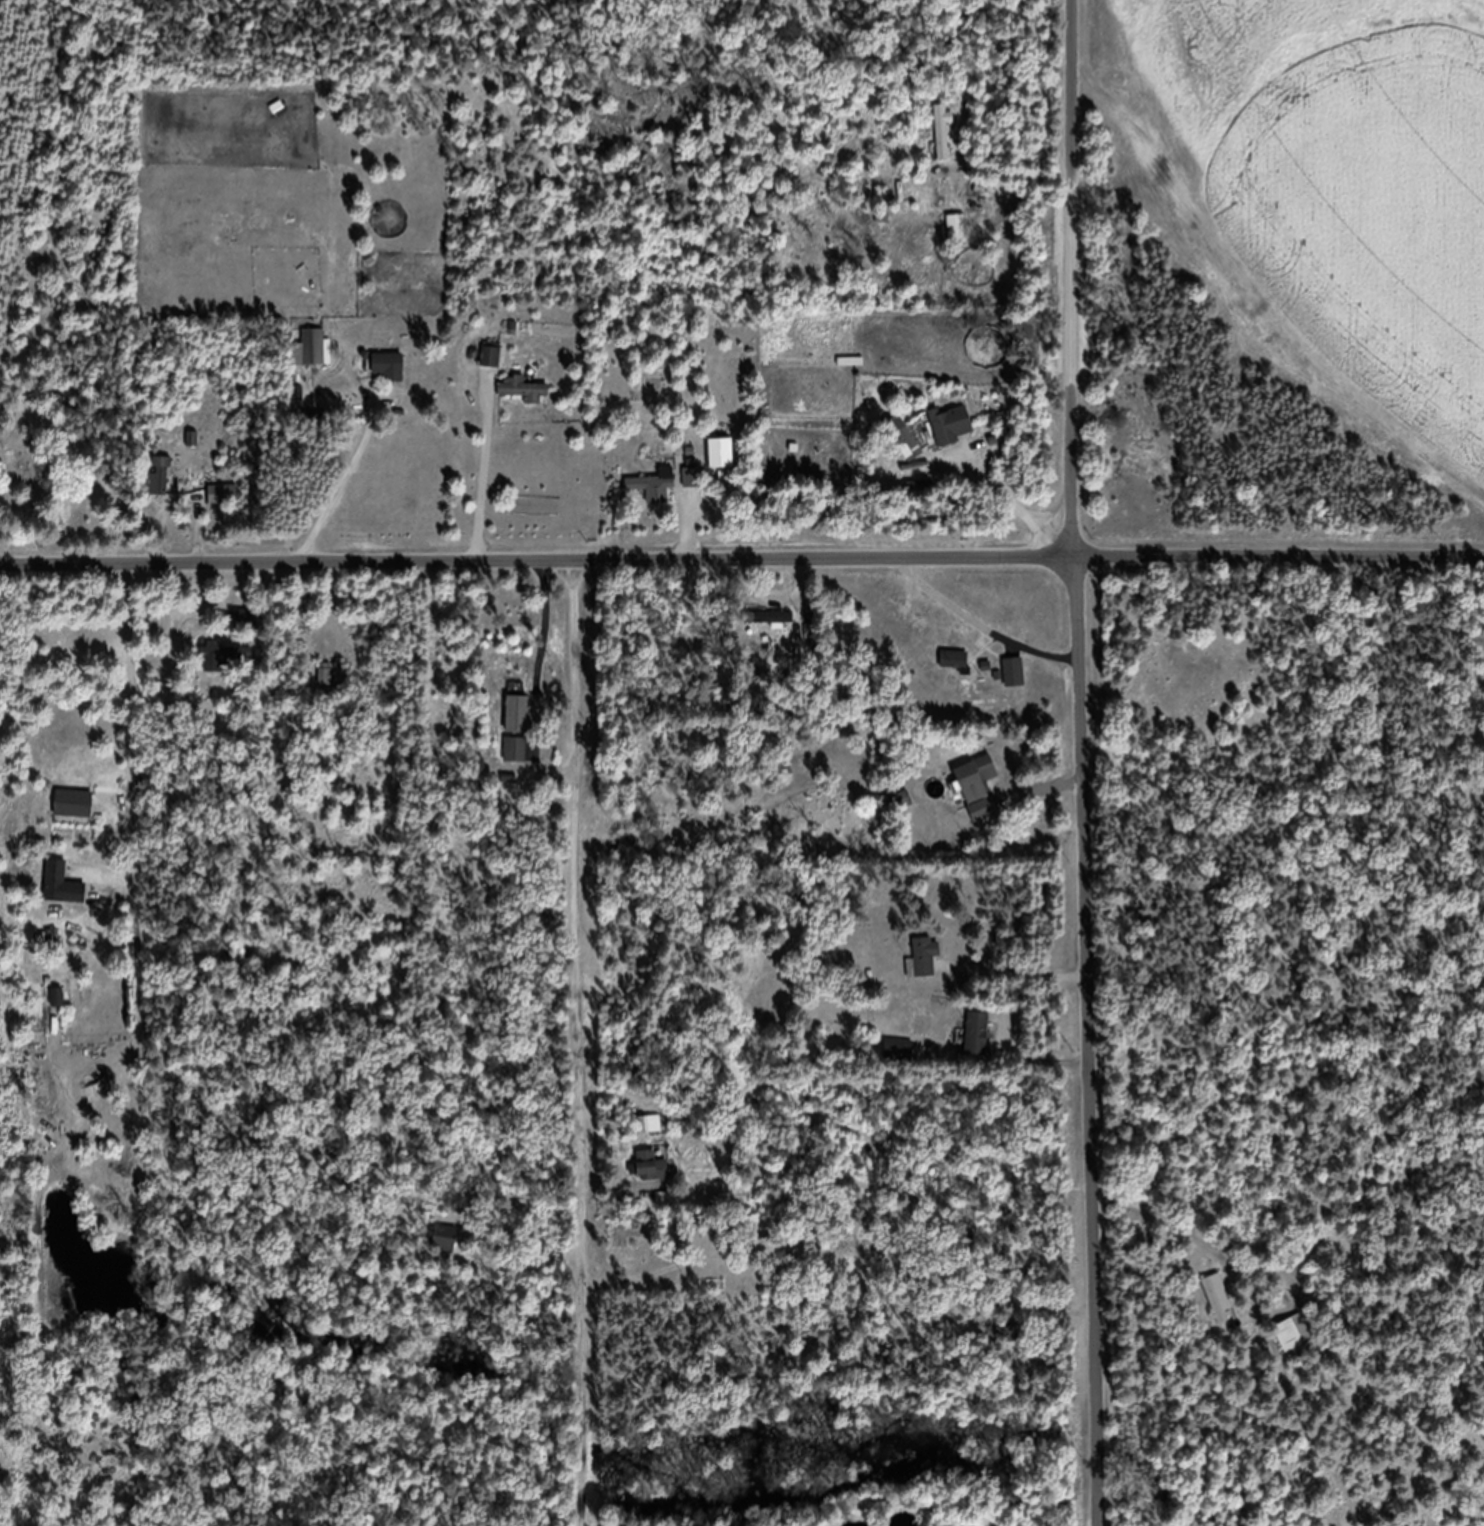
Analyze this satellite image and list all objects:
building: (944, 143)
building: (958, 240)
building: (316, 360)
building: (491, 366)
building: (389, 379)
building: (524, 401)
building: (951, 437)
building: (193, 450)
building: (908, 456)
building: (160, 488)
building: (654, 493)
building: (223, 505)
road: (741, 551)
building: (774, 629)
building: (226, 667)
building: (957, 671)
building: (1015, 683)
building: (326, 685)
building: (517, 725)
building: (516, 760)
road: (1081, 763)
building: (979, 798)
building: (73, 814)
building: (62, 895)
building: (925, 967)
building: (58, 1008)
road: (580, 1038)
building: (977, 1044)
building: (899, 1061)
building: (650, 1135)
building: (652, 1178)
building: (445, 1250)
building: (767, 1265)
building: (1219, 1310)
building: (999, 1342)
building: (1294, 1344)

